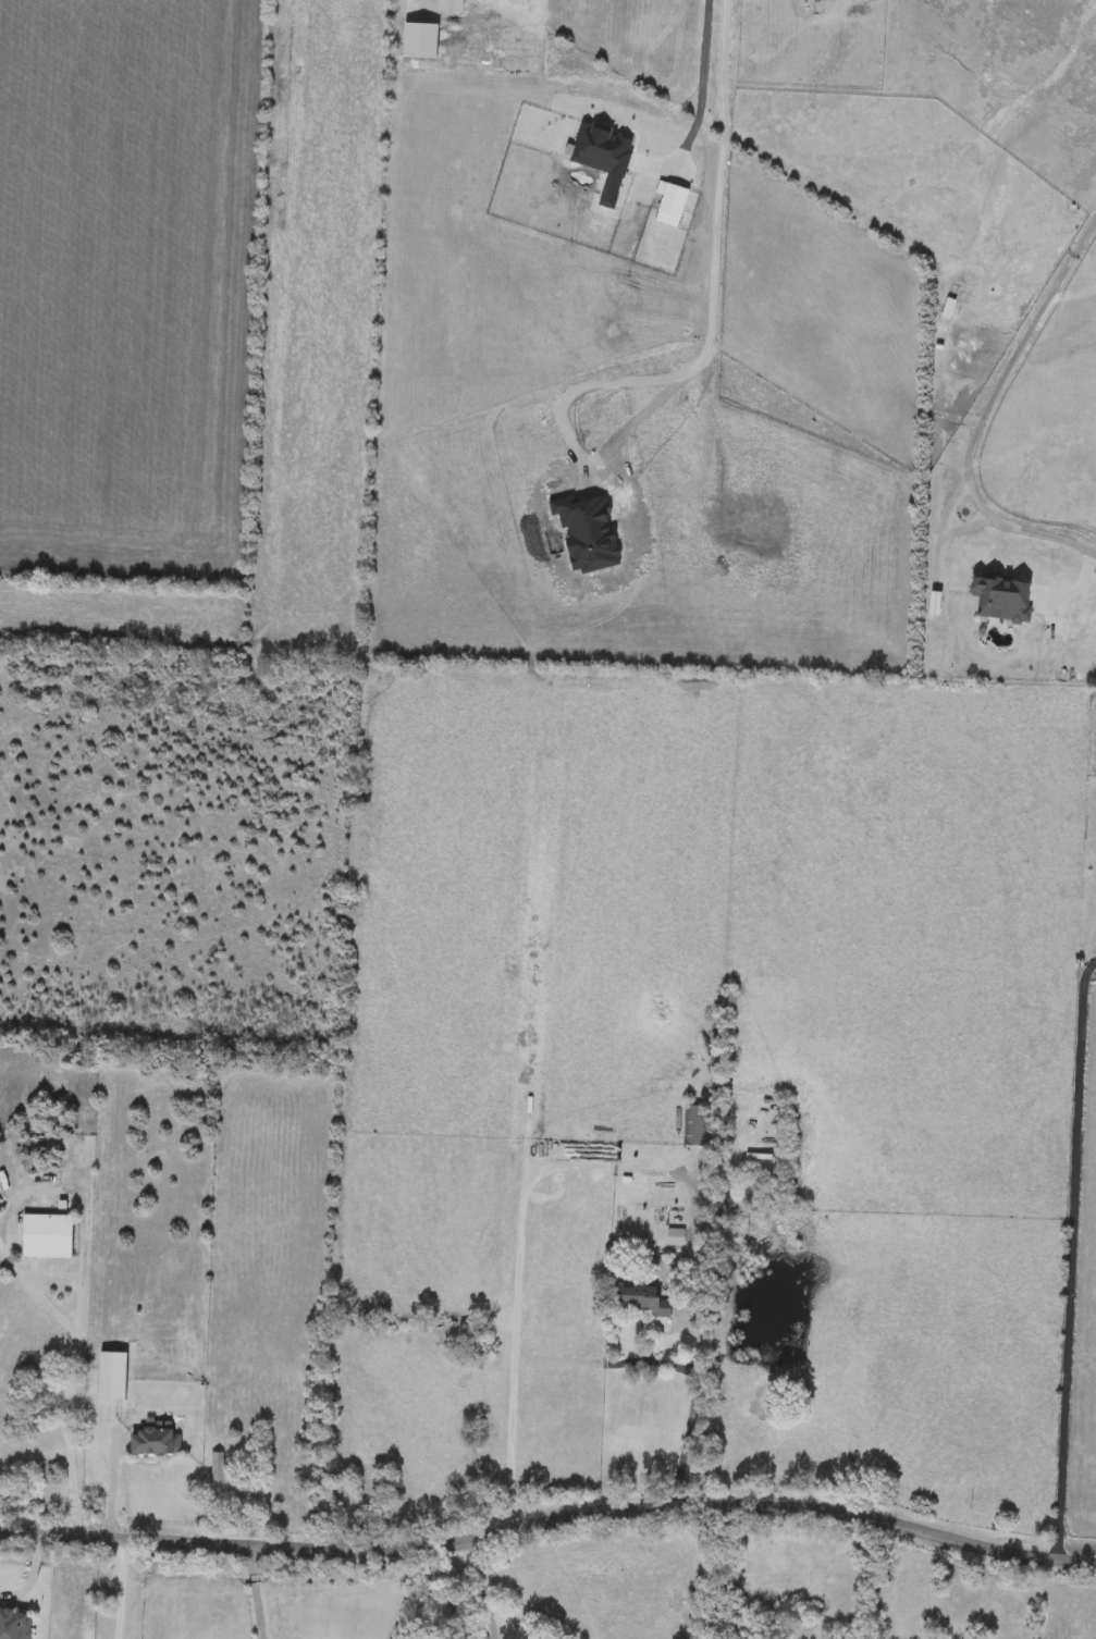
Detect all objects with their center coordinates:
road: (702, 98)
road: (710, 296)
road: (989, 411)
building: (699, 1127)
building: (47, 1237)
building: (677, 1239)
road: (519, 1248)
road: (1073, 1257)
road: (72, 1348)
building: (104, 1402)
road: (691, 1413)
building: (155, 1443)
road: (110, 1484)
building: (225, 1488)
building: (270, 1504)
road: (549, 1519)
road: (121, 1589)
road: (481, 1590)
road: (255, 1591)
building: (14, 1626)

